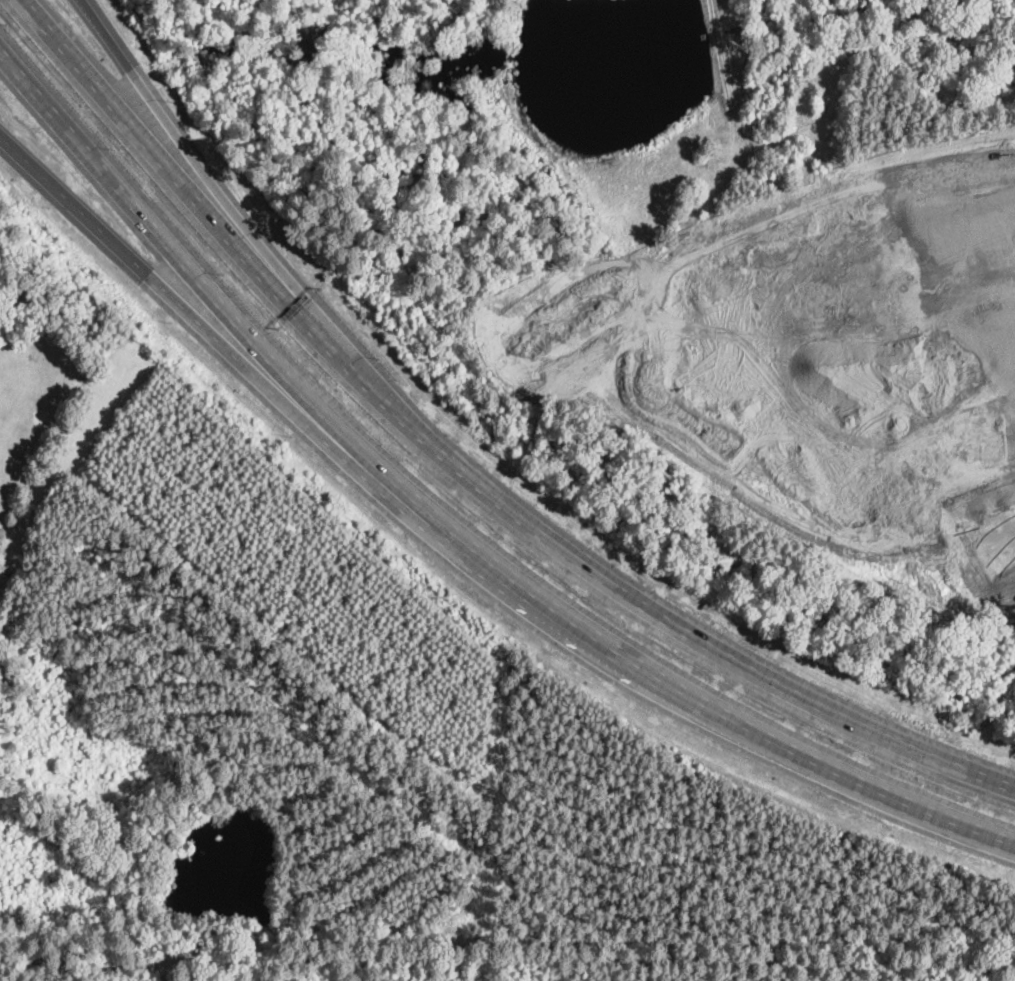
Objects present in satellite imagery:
road: (204, 168)
building: (24, 325)
road: (834, 333)
road: (227, 350)
road: (460, 471)
road: (445, 523)

